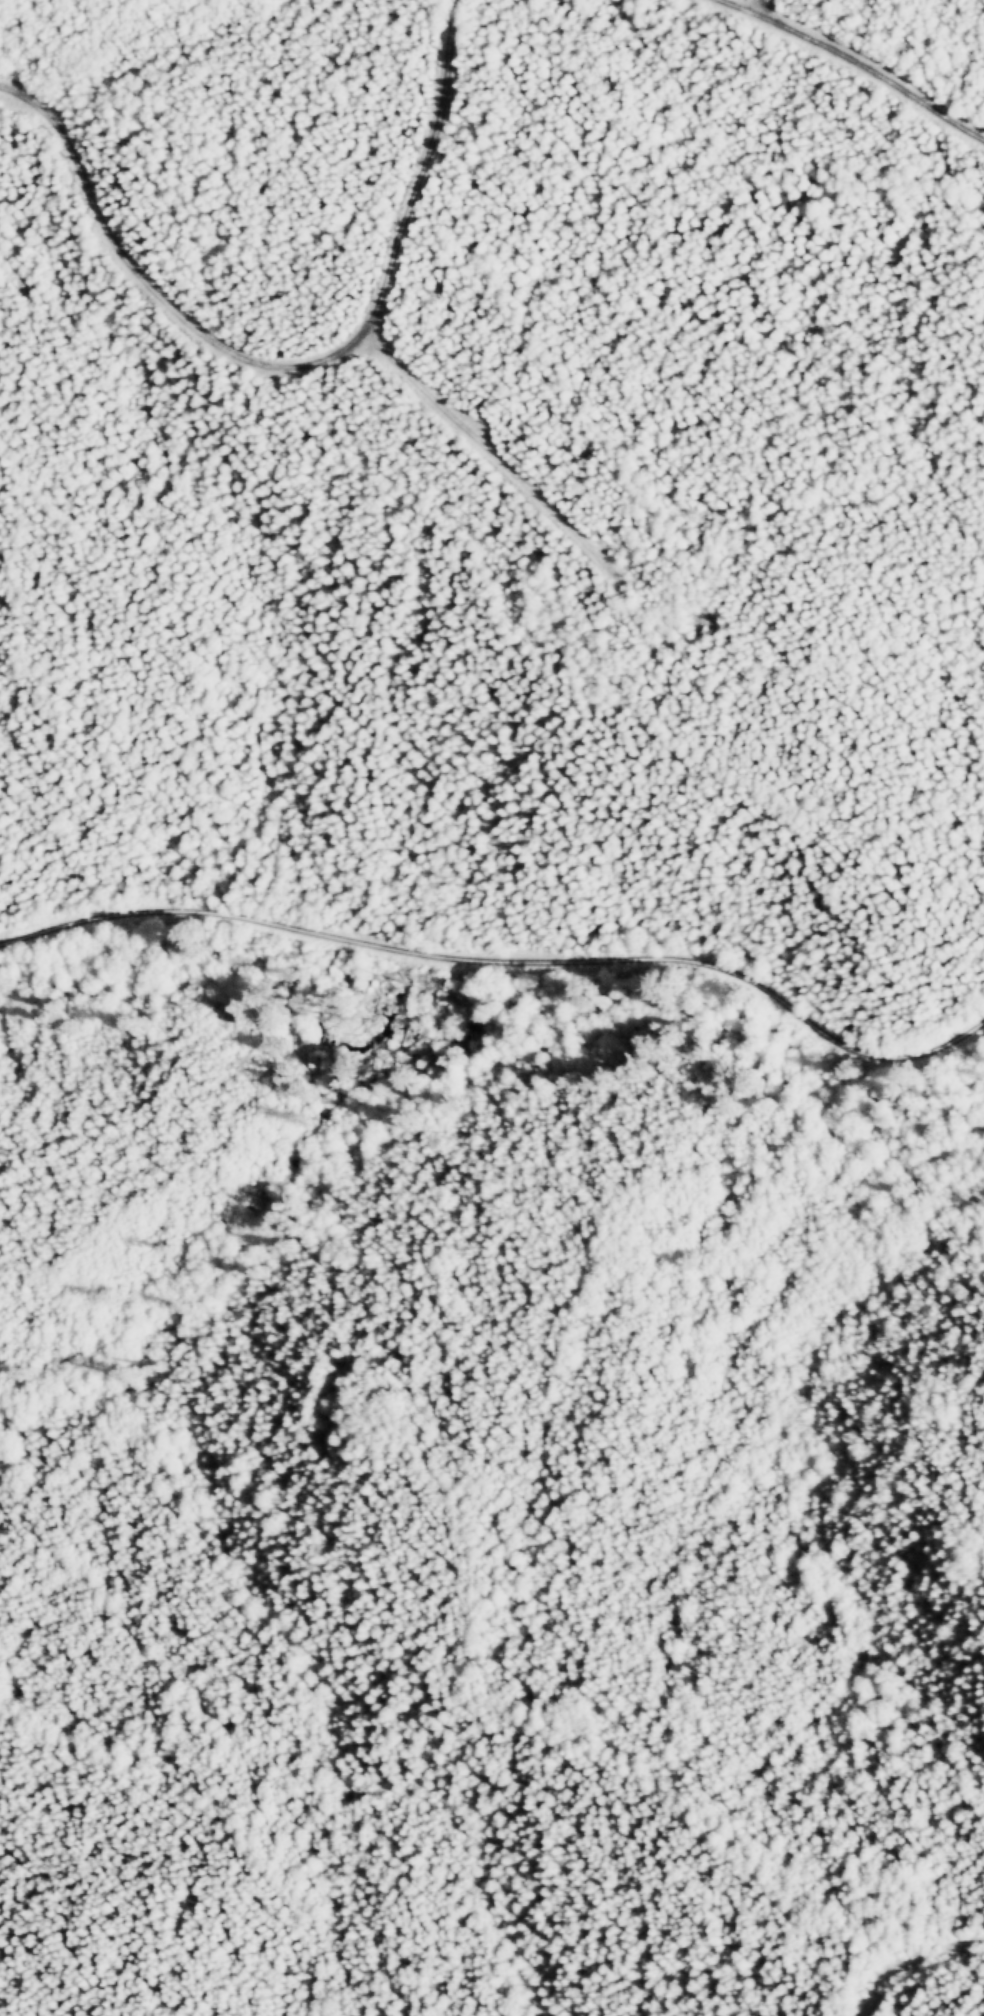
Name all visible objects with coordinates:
road: (873, 64)
road: (301, 347)
road: (493, 945)

